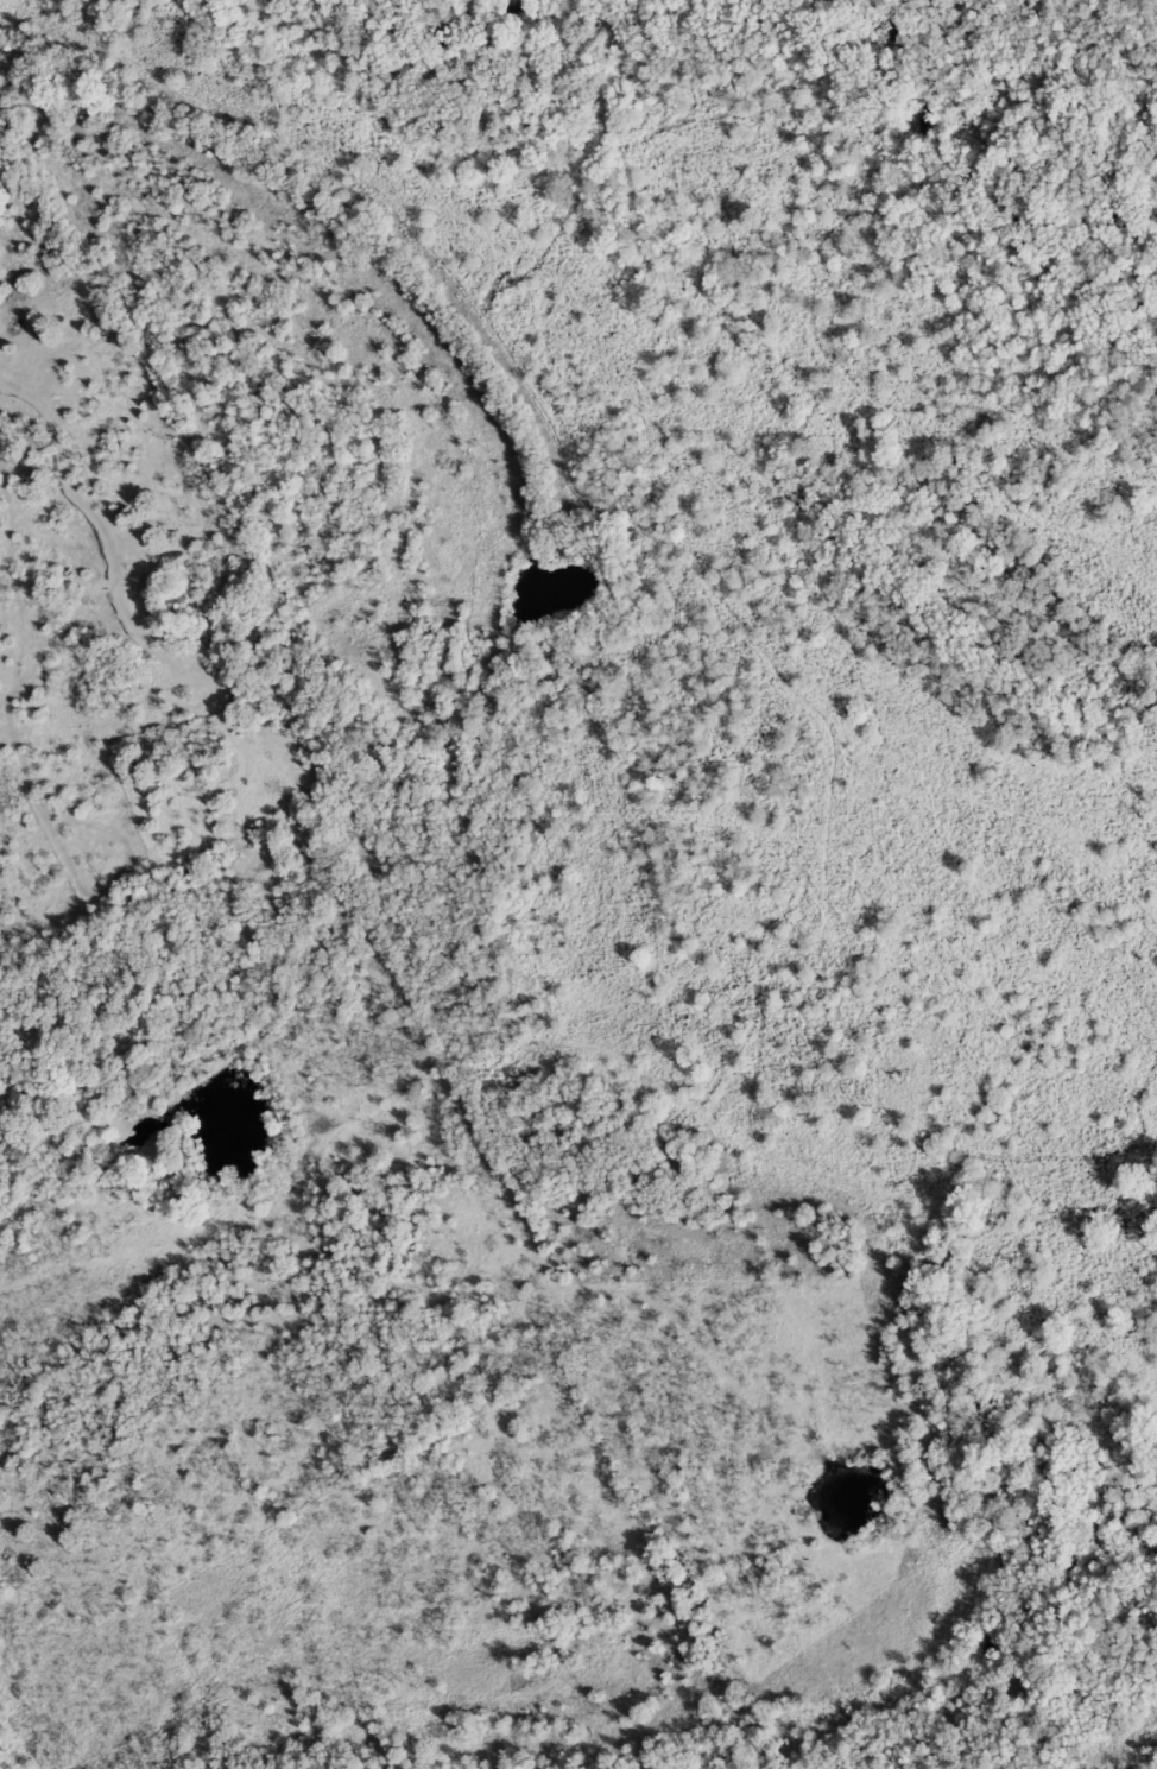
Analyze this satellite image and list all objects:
road: (1028, 71)

